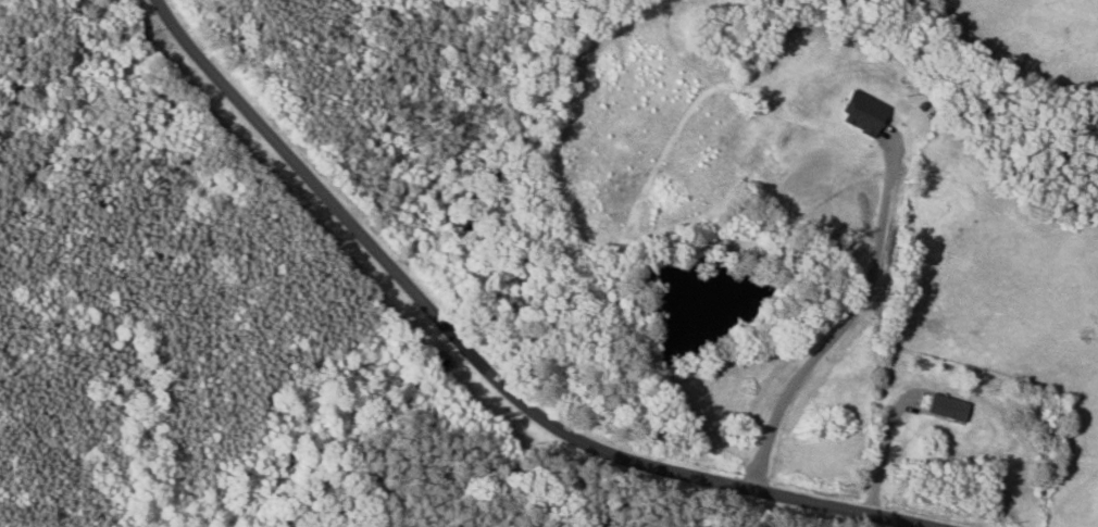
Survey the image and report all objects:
road: (485, 367)

